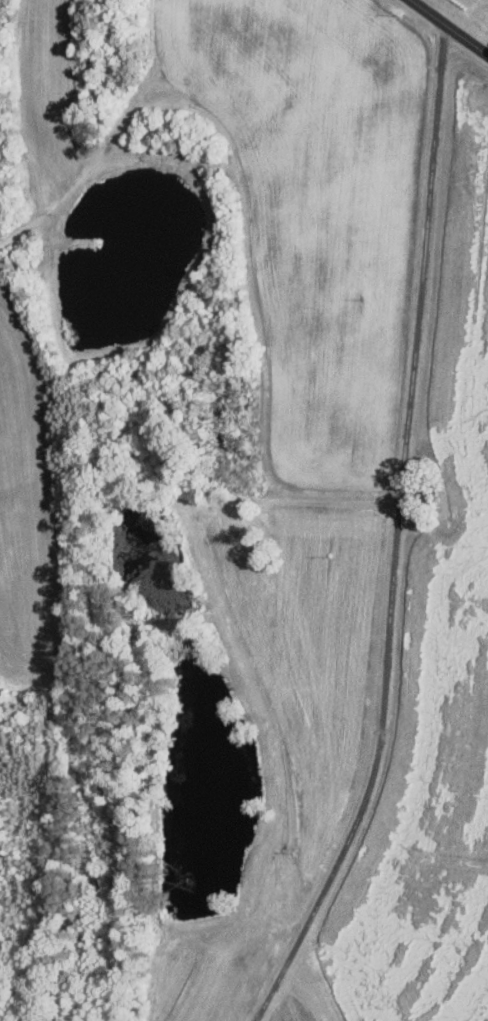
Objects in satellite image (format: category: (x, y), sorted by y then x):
road: (450, 26)
road: (147, 56)
road: (395, 533)

